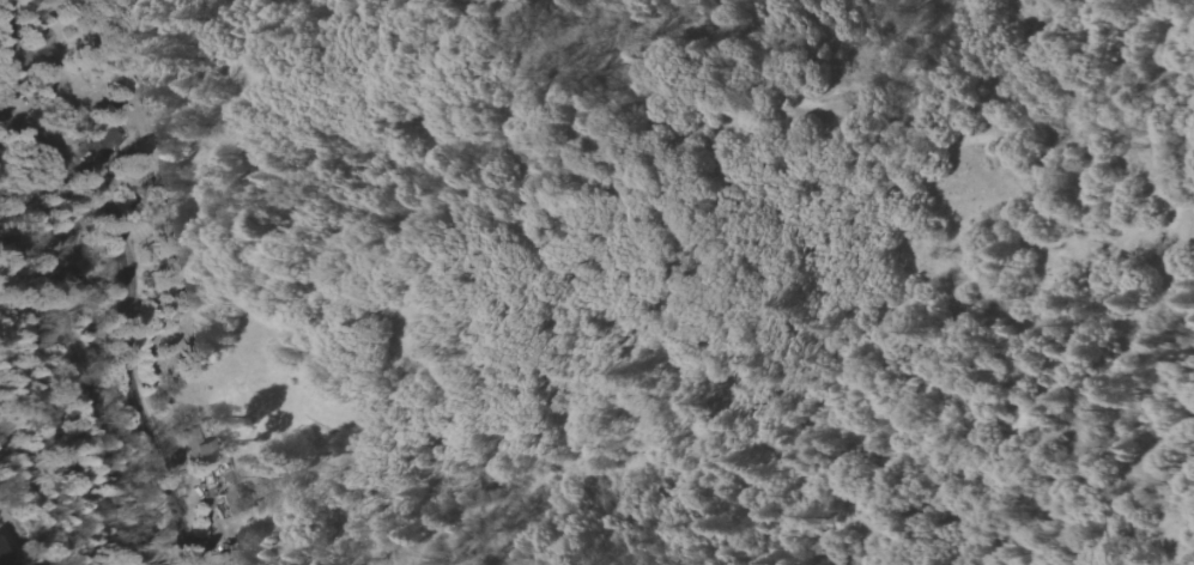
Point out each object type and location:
building: (104, 136)
road: (120, 318)
building: (207, 451)
building: (234, 500)
road: (28, 514)
building: (1, 555)

